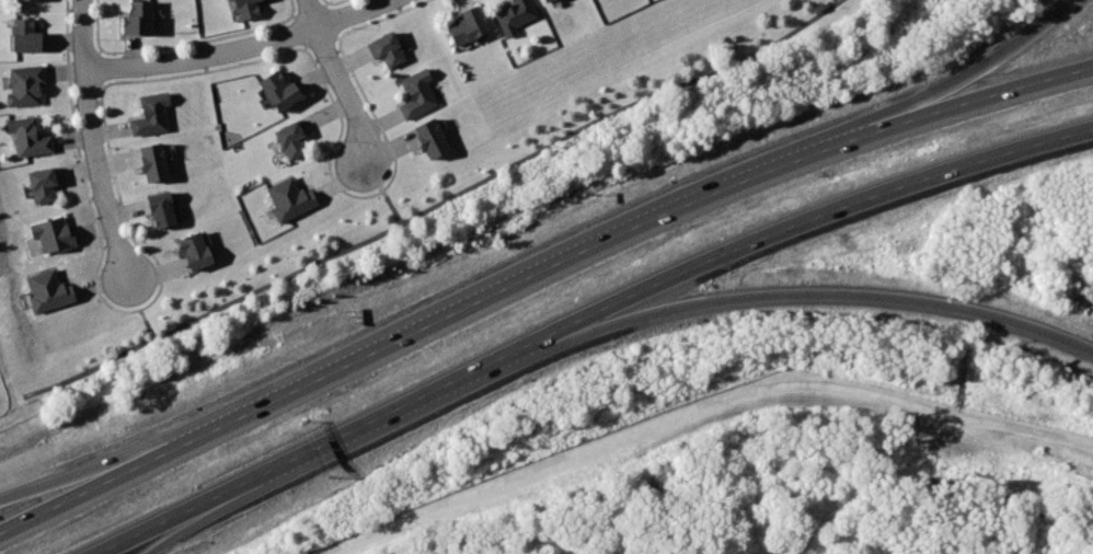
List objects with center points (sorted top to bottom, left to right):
building: (551, 1)
road: (837, 1)
building: (249, 9)
building: (517, 15)
building: (140, 19)
building: (471, 26)
building: (27, 35)
road: (239, 49)
building: (390, 49)
road: (988, 65)
road: (337, 80)
building: (26, 85)
building: (283, 91)
building: (419, 94)
road: (996, 96)
building: (152, 113)
building: (30, 137)
building: (294, 139)
building: (435, 139)
road: (92, 140)
building: (157, 162)
building: (44, 185)
road: (382, 193)
building: (291, 199)
road: (437, 206)
building: (163, 209)
building: (54, 234)
road: (750, 235)
building: (198, 252)
road: (514, 280)
building: (48, 291)
road: (756, 298)
road: (140, 310)
road: (695, 404)
road: (310, 449)
road: (70, 484)
road: (70, 498)
road: (141, 529)
road: (166, 529)

